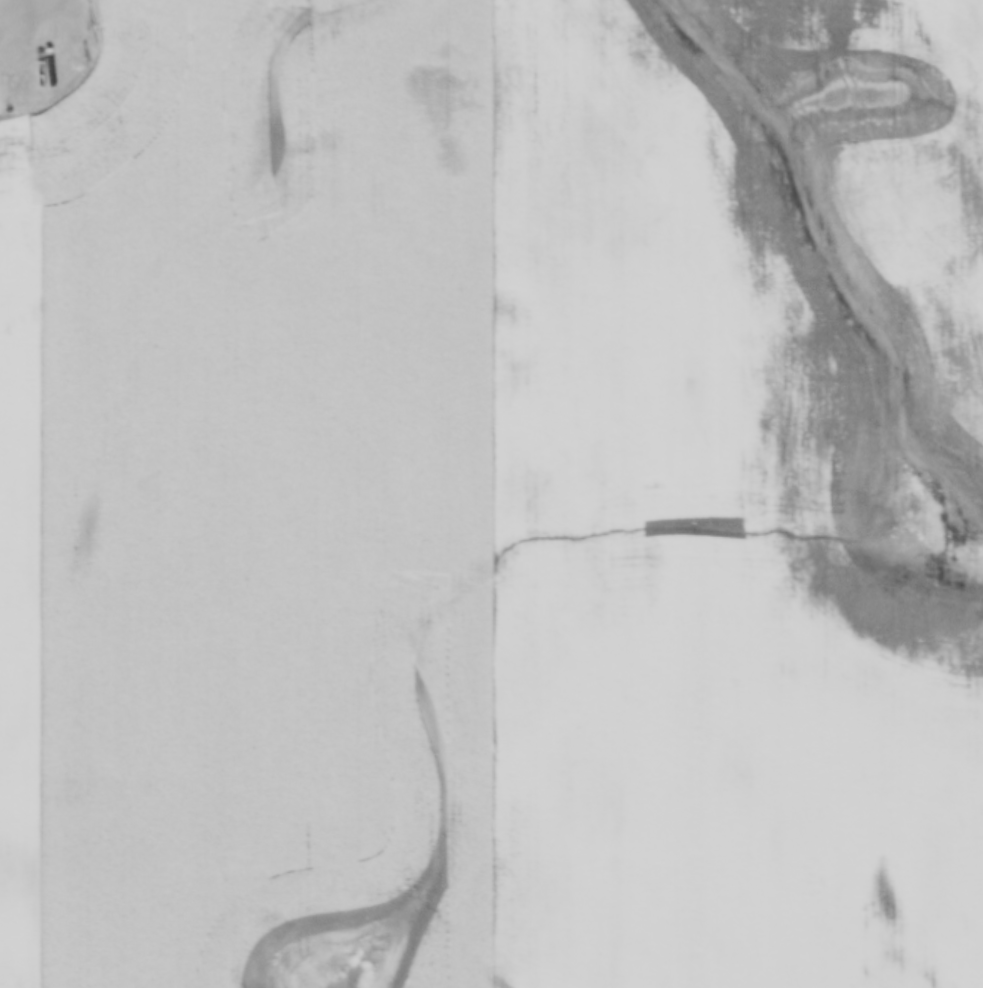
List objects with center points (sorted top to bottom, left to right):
building: (36, 51)

